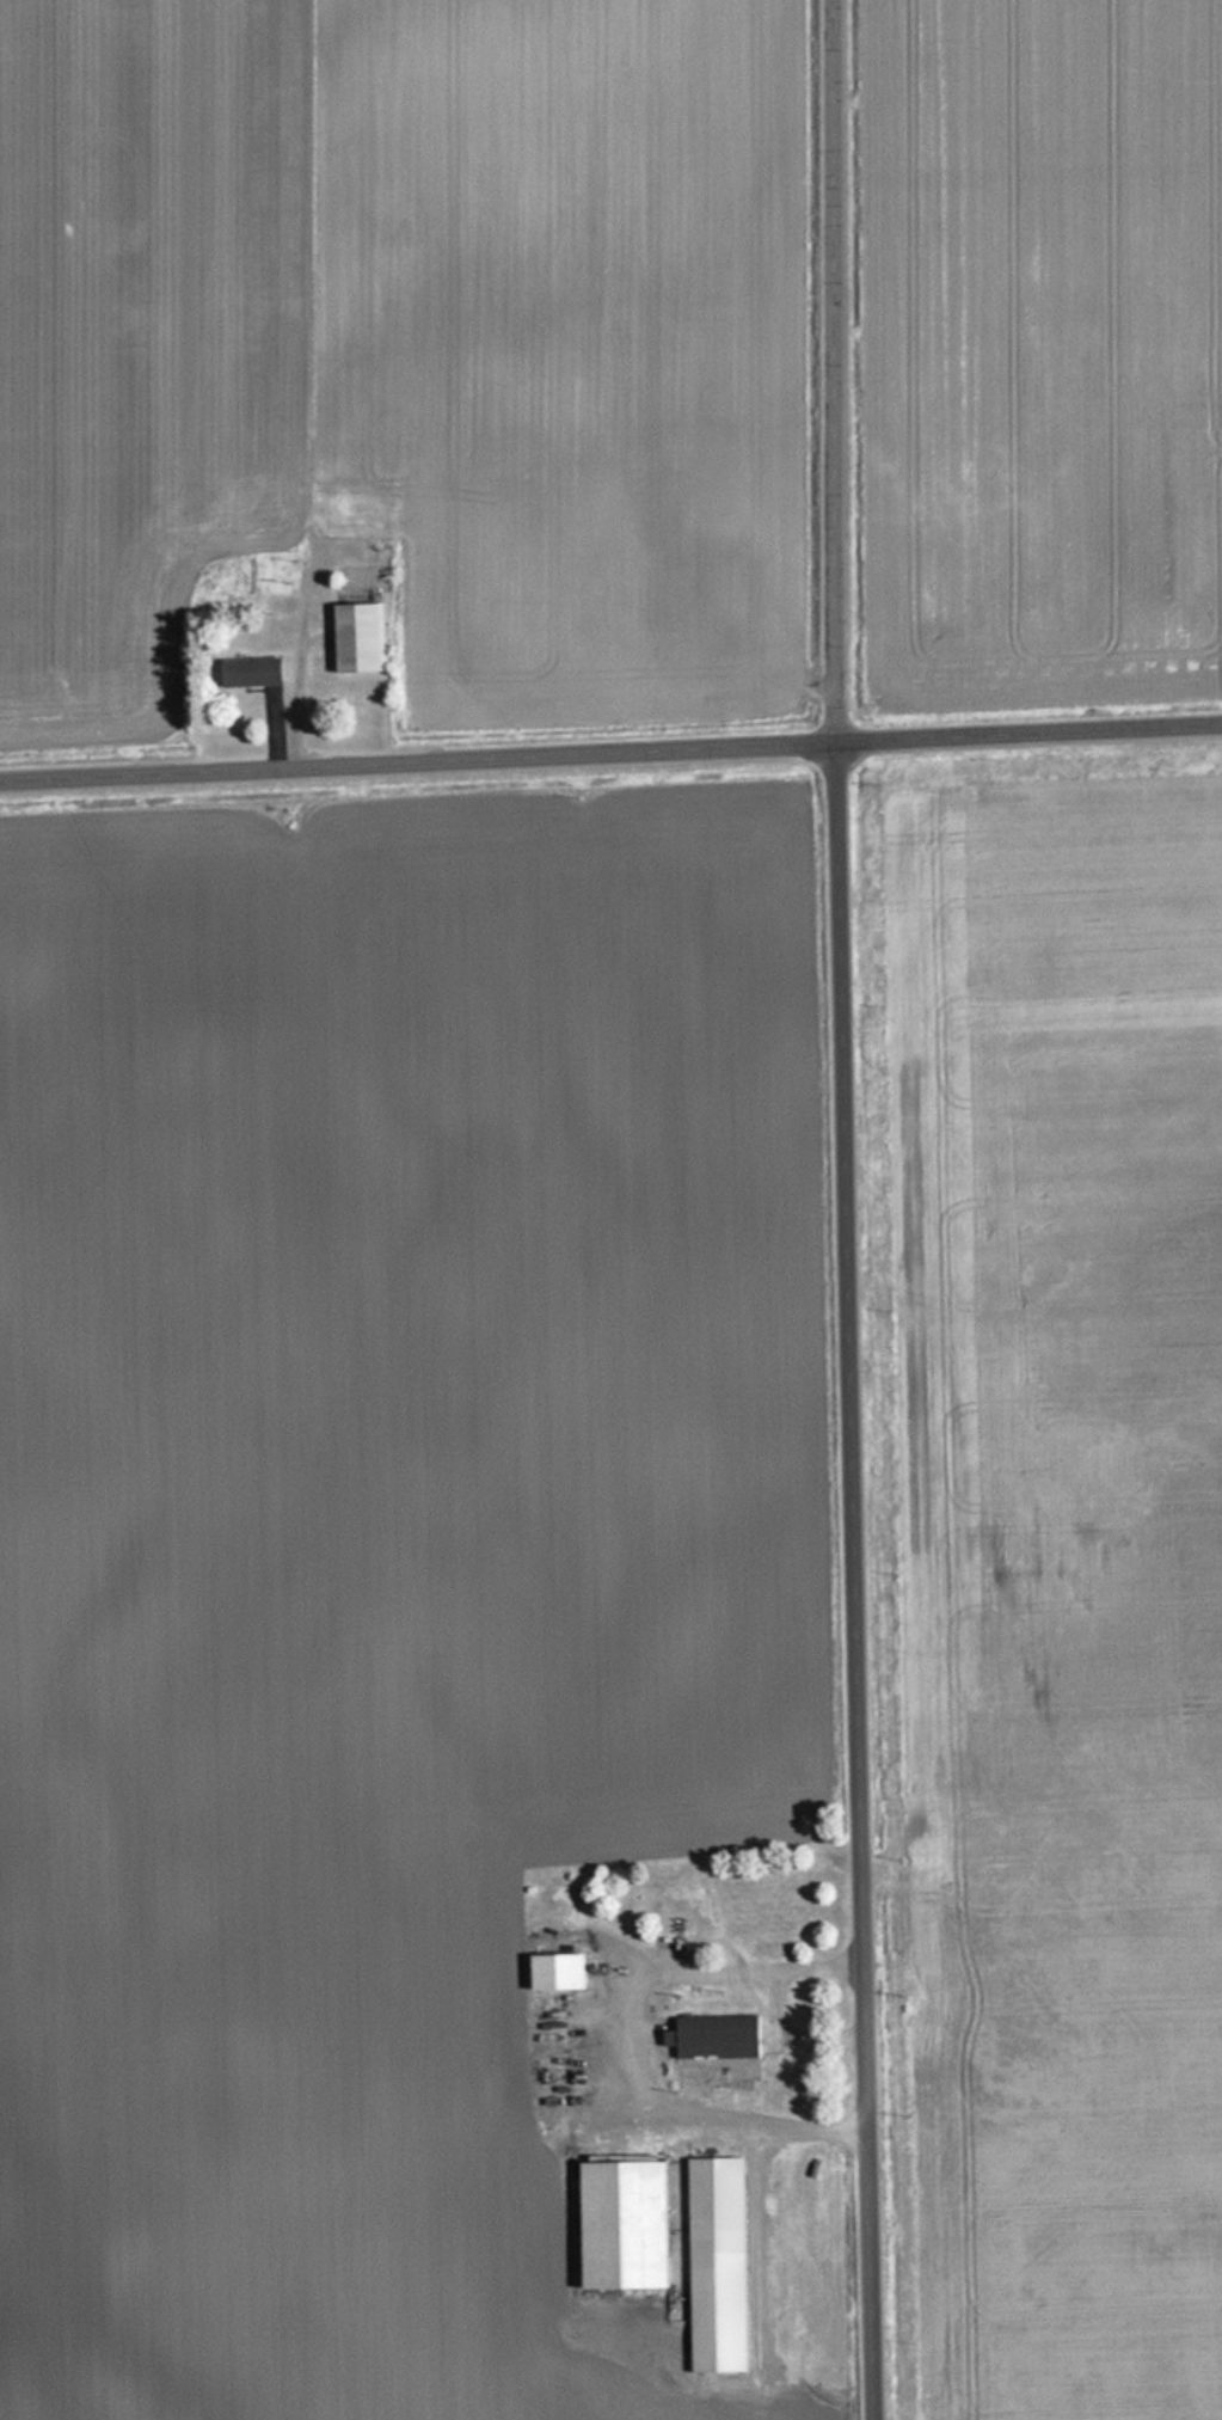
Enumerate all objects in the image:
building: (354, 638)
building: (248, 673)
road: (610, 753)
road: (854, 1209)
building: (689, 1911)
building: (552, 1969)
building: (712, 2035)
road: (621, 2051)
building: (618, 2223)
building: (711, 2263)

